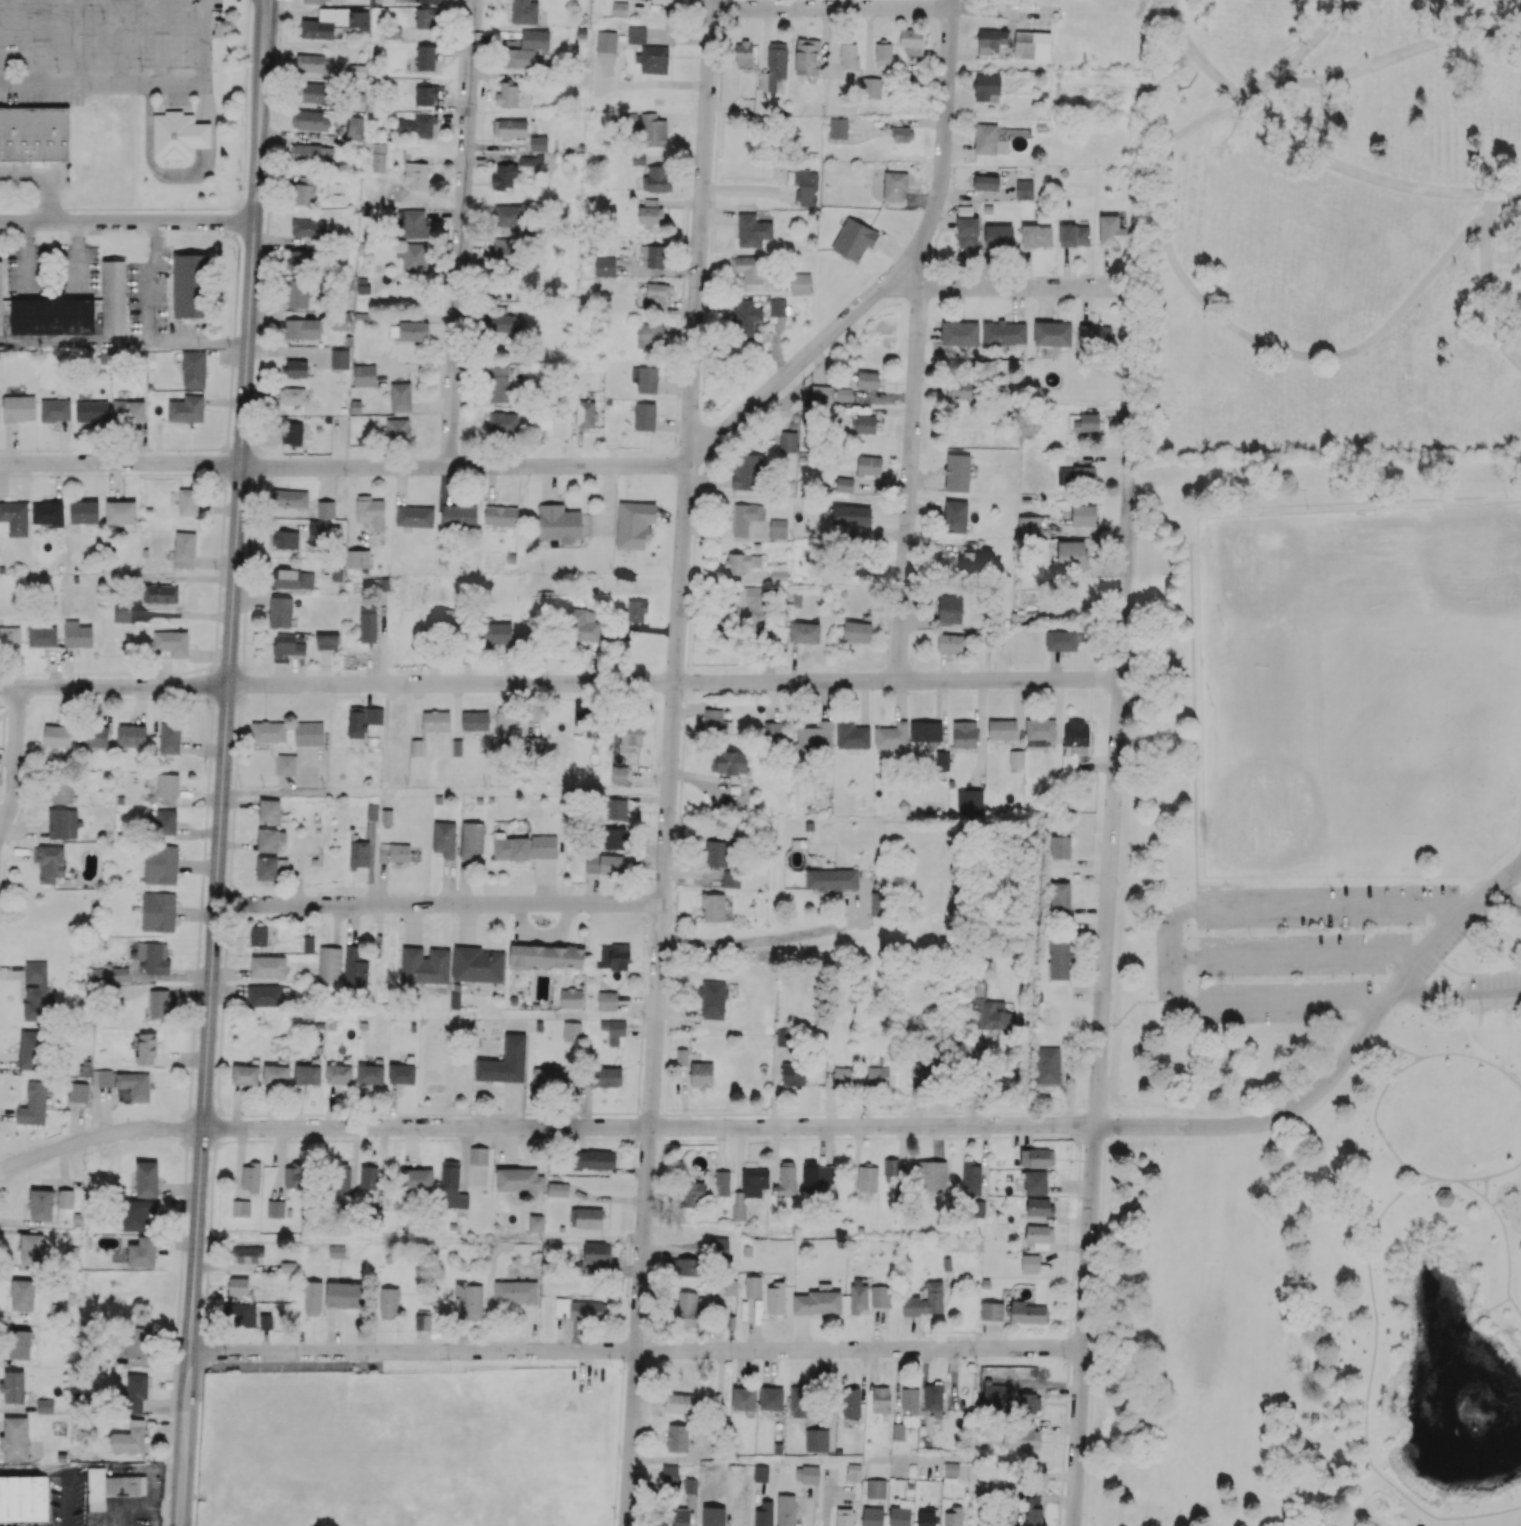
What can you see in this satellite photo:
building: (317, 1)
building: (430, 1)
building: (667, 1)
road: (832, 8)
building: (619, 9)
building: (524, 12)
building: (425, 18)
building: (363, 21)
building: (327, 23)
building: (392, 33)
building: (636, 34)
road: (1314, 38)
road: (247, 39)
building: (991, 40)
building: (606, 41)
building: (912, 44)
building: (1032, 45)
building: (526, 49)
building: (743, 53)
road: (1196, 54)
building: (805, 56)
building: (849, 56)
building: (426, 57)
building: (881, 57)
building: (653, 59)
road: (1380, 61)
building: (310, 65)
building: (774, 66)
building: (357, 70)
road: (141, 84)
building: (871, 87)
building: (987, 87)
building: (310, 91)
building: (425, 94)
building: (507, 95)
building: (310, 120)
building: (417, 126)
building: (838, 127)
building: (355, 128)
building: (510, 128)
building: (647, 129)
building: (34, 133)
building: (901, 134)
building: (178, 135)
building: (985, 138)
building: (538, 143)
building: (313, 154)
building: (379, 157)
building: (638, 158)
building: (529, 160)
road: (1356, 172)
building: (416, 174)
road: (45, 176)
building: (504, 176)
building: (657, 178)
building: (986, 182)
building: (894, 185)
building: (805, 186)
building: (1024, 189)
building: (304, 190)
road: (1507, 191)
road: (1518, 191)
building: (648, 211)
building: (508, 215)
road: (127, 222)
building: (412, 224)
park: (1335, 227)
building: (312, 228)
building: (752, 230)
building: (1111, 230)
road: (461, 232)
building: (968, 232)
building: (998, 235)
building: (1036, 235)
building: (1073, 235)
building: (853, 239)
building: (504, 251)
road: (27, 256)
road: (73, 256)
building: (412, 256)
building: (652, 256)
building: (604, 266)
building: (748, 268)
road: (147, 278)
building: (800, 283)
building: (189, 285)
road: (1022, 287)
building: (297, 293)
building: (656, 294)
building: (113, 297)
road: (1488, 297)
building: (1, 300)
building: (777, 307)
building: (52, 315)
building: (745, 317)
building: (340, 323)
building: (504, 324)
building: (302, 328)
building: (413, 330)
building: (1003, 332)
building: (959, 333)
building: (1052, 333)
building: (650, 335)
building: (1094, 335)
road: (917, 337)
road: (124, 339)
road: (1255, 339)
building: (340, 358)
building: (296, 368)
building: (193, 369)
building: (364, 375)
building: (645, 379)
building: (867, 380)
building: (498, 384)
building: (960, 389)
building: (820, 393)
building: (844, 394)
building: (292, 395)
building: (400, 396)
building: (18, 408)
building: (186, 409)
building: (55, 410)
building: (92, 411)
building: (128, 411)
building: (585, 413)
building: (644, 416)
building: (542, 419)
building: (503, 422)
building: (864, 423)
building: (1086, 423)
building: (397, 428)
building: (292, 433)
building: (789, 442)
road: (121, 464)
road: (613, 465)
building: (869, 465)
building: (747, 471)
building: (957, 472)
building: (1076, 474)
building: (844, 484)
building: (1374, 496)
building: (290, 498)
building: (188, 501)
building: (325, 509)
building: (84, 512)
building: (121, 512)
building: (371, 512)
building: (47, 513)
building: (1083, 514)
building: (459, 515)
building: (500, 515)
building: (850, 515)
building: (414, 516)
building: (955, 516)
building: (746, 517)
building: (14, 518)
building: (559, 523)
building: (634, 524)
building: (1029, 525)
building: (778, 528)
building: (318, 531)
building: (284, 539)
building: (184, 550)
building: (1071, 554)
building: (357, 558)
building: (969, 561)
building: (741, 562)
building: (856, 565)
park: (1461, 572)
building: (779, 576)
building: (291, 578)
park: (1280, 580)
building: (160, 593)
building: (544, 601)
building: (746, 607)
building: (950, 609)
building: (280, 611)
building: (636, 611)
building: (122, 612)
building: (444, 617)
building: (367, 623)
building: (581, 626)
building: (530, 629)
building: (857, 631)
building: (496, 632)
building: (804, 632)
building: (778, 633)
building: (77, 634)
building: (10, 636)
building: (42, 636)
building: (993, 638)
building: (1061, 640)
building: (327, 641)
building: (950, 642)
building: (171, 643)
building: (288, 645)
road: (674, 682)
road: (114, 686)
park: (1372, 688)
road: (1119, 703)
building: (581, 712)
building: (362, 720)
building: (436, 721)
building: (475, 721)
building: (716, 722)
building: (505, 725)
building: (1002, 729)
building: (771, 730)
building: (925, 730)
building: (268, 731)
building: (1039, 732)
building: (308, 733)
building: (964, 734)
building: (131, 735)
building: (815, 735)
building: (852, 735)
building: (57, 736)
building: (94, 736)
building: (892, 736)
building: (630, 737)
building: (169, 738)
building: (1074, 741)
park: (1437, 741)
building: (416, 747)
building: (457, 747)
building: (1016, 758)
road: (14, 759)
building: (942, 760)
road: (222, 762)
building: (727, 762)
road: (670, 763)
building: (286, 764)
building: (619, 774)
building: (168, 785)
park: (1308, 786)
building: (62, 791)
road: (445, 791)
building: (969, 800)
building: (616, 809)
building: (269, 811)
building: (166, 821)
building: (63, 823)
building: (1207, 828)
building: (614, 838)
building: (269, 839)
building: (444, 839)
building: (471, 839)
building: (543, 846)
building: (510, 847)
building: (1060, 847)
building: (394, 852)
building: (359, 853)
building: (717, 853)
building: (49, 862)
building: (160, 864)
building: (604, 864)
building: (266, 867)
building: (731, 878)
building: (831, 879)
building: (1060, 897)
road: (1506, 897)
road: (438, 903)
building: (877, 903)
building: (713, 907)
road: (1300, 907)
building: (158, 911)
building: (258, 936)
road: (750, 942)
building: (308, 944)
parking lot: (1288, 949)
road: (1298, 955)
building: (154, 956)
building: (545, 956)
building: (614, 956)
building: (1059, 957)
building: (329, 964)
building: (477, 964)
building: (424, 965)
building: (268, 966)
building: (354, 967)
building: (109, 974)
parking lot: (1493, 986)
building: (35, 990)
building: (267, 995)
building: (571, 998)
building: (712, 999)
road: (1458, 999)
building: (606, 1000)
park: (1316, 1001)
building: (158, 1003)
road: (1260, 1003)
building: (990, 1011)
building: (613, 1030)
building: (783, 1037)
road: (1396, 1047)
building: (146, 1048)
building: (30, 1049)
building: (682, 1056)
building: (505, 1061)
road: (1341, 1062)
road: (1395, 1063)
building: (1047, 1065)
building: (922, 1072)
building: (245, 1073)
building: (275, 1074)
building: (307, 1074)
building: (338, 1074)
building: (370, 1074)
building: (402, 1074)
building: (701, 1074)
building: (793, 1074)
building: (555, 1076)
building: (606, 1076)
building: (878, 1076)
building: (101, 1077)
building: (844, 1077)
building: (133, 1087)
building: (77, 1092)
building: (33, 1104)
road: (648, 1126)
road: (98, 1136)
building: (478, 1155)
building: (1037, 1157)
building: (593, 1159)
building: (368, 1175)
building: (815, 1175)
building: (250, 1176)
building: (932, 1176)
building: (293, 1177)
building: (787, 1177)
building: (340, 1178)
building: (867, 1178)
building: (971, 1178)
road: (1443, 1178)
building: (146, 1179)
building: (417, 1179)
building: (518, 1180)
road: (1445, 1180)
building: (1035, 1182)
building: (722, 1183)
building: (451, 1186)
building: (558, 1189)
building: (748, 1190)
building: (692, 1193)
building: (65, 1198)
building: (1444, 1199)
building: (41, 1204)
building: (1039, 1206)
building: (240, 1208)
building: (275, 1208)
building: (978, 1208)
building: (138, 1214)
building: (586, 1217)
building: (536, 1222)
road: (1503, 1226)
building: (1038, 1236)
road: (420, 1238)
building: (718, 1247)
building: (31, 1248)
building: (336, 1251)
building: (142, 1252)
building: (597, 1252)
building: (247, 1254)
building: (1030, 1262)
building: (671, 1264)
building: (689, 1266)
building: (288, 1267)
road: (1369, 1274)
building: (238, 1286)
building: (753, 1286)
building: (515, 1292)
building: (22, 1294)
building: (344, 1294)
building: (879, 1295)
building: (312, 1298)
building: (775, 1298)
building: (470, 1299)
building: (818, 1301)
building: (925, 1301)
building: (388, 1303)
road: (1497, 1307)
building: (578, 1309)
building: (687, 1309)
building: (992, 1310)
building: (1027, 1312)
building: (239, 1314)
building: (266, 1320)
building: (423, 1320)
road: (1083, 1325)
building: (137, 1342)
building: (19, 1344)
road: (635, 1350)
building: (13, 1386)
building: (136, 1392)
building: (993, 1394)
building: (932, 1396)
building: (743, 1398)
building: (771, 1398)
building: (797, 1398)
building: (881, 1399)
building: (910, 1400)
building: (682, 1402)
building: (851, 1402)
building: (1026, 1402)
building: (45, 1406)
building: (898, 1431)
building: (1020, 1436)
building: (677, 1437)
building: (129, 1438)
building: (15, 1439)
building: (816, 1439)
building: (951, 1468)
building: (853, 1472)
building: (761, 1473)
building: (807, 1474)
building: (670, 1475)
building: (113, 1485)
building: (690, 1485)
building: (876, 1488)
building: (23, 1498)
building: (1033, 1507)
building: (785, 1510)
building: (764, 1514)
building: (900, 1514)
building: (713, 1516)
building: (844, 1516)
building: (872, 1516)
building: (953, 1516)
building: (680, 1517)
building: (925, 1517)

